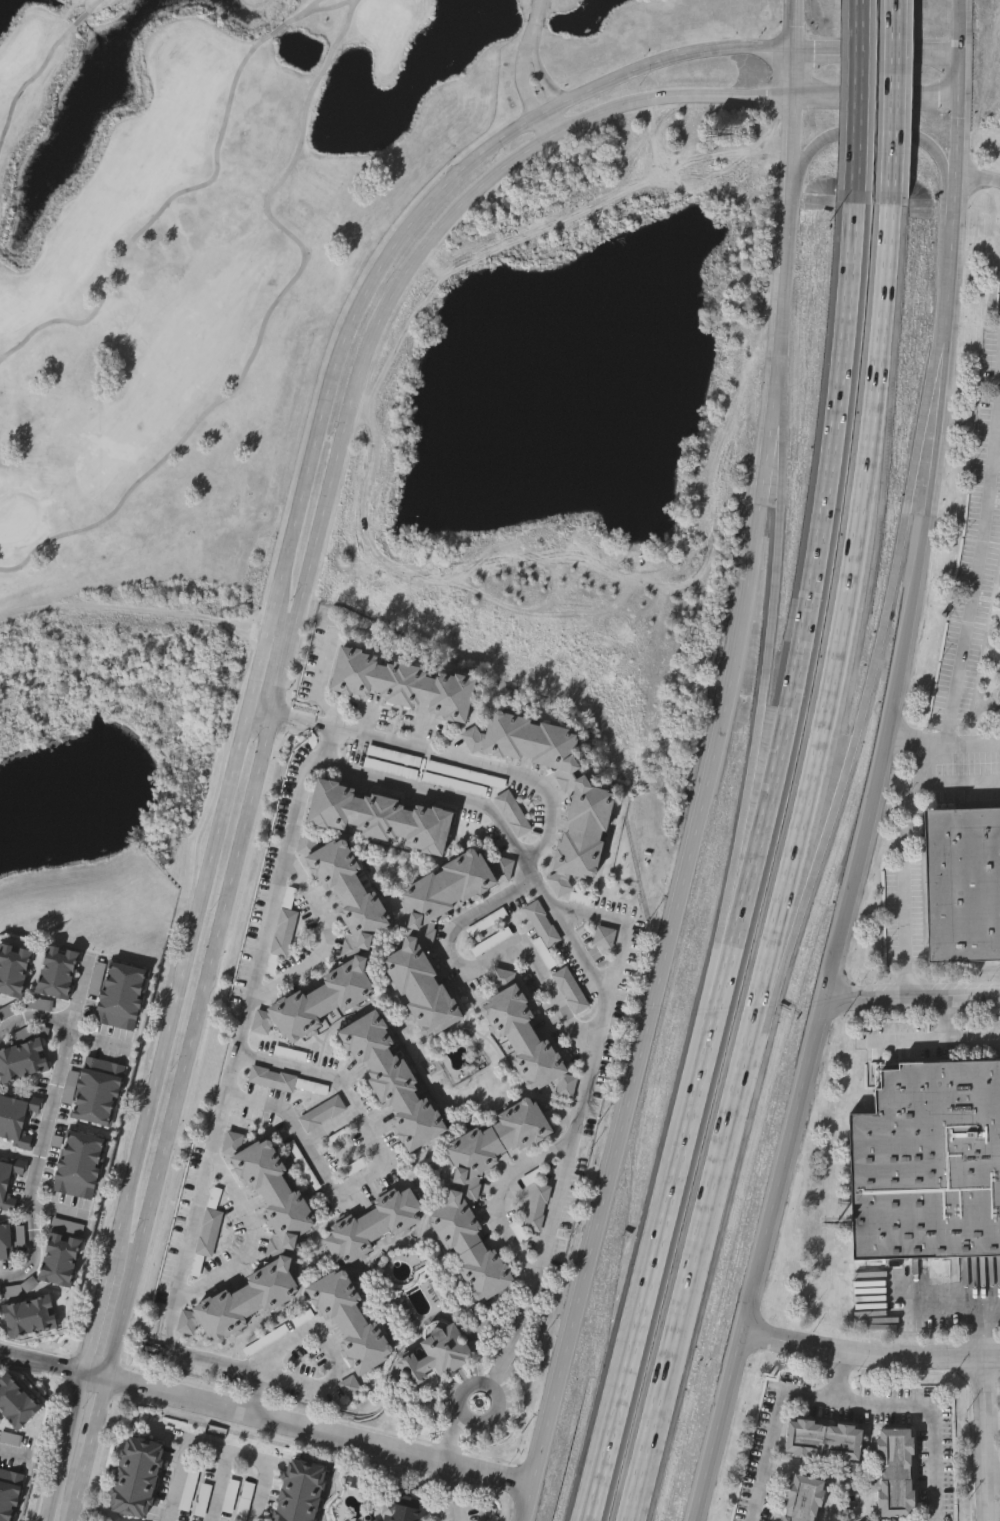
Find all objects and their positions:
road: (96, 6)
road: (312, 7)
road: (330, 9)
road: (82, 21)
road: (796, 23)
road: (959, 25)
road: (877, 48)
road: (530, 58)
road: (795, 72)
road: (29, 84)
road: (857, 95)
road: (894, 96)
road: (876, 98)
road: (554, 124)
road: (867, 139)
road: (978, 181)
road: (954, 197)
road: (169, 202)
road: (279, 225)
road: (410, 225)
park: (224, 243)
road: (931, 388)
building: (988, 430)
road: (776, 465)
road: (765, 467)
road: (976, 562)
road: (915, 580)
road: (811, 586)
road: (297, 602)
road: (845, 607)
road: (132, 609)
road: (254, 671)
building: (401, 684)
road: (872, 685)
road: (318, 687)
road: (762, 695)
road: (257, 712)
road: (289, 718)
road: (322, 725)
road: (942, 739)
building: (530, 742)
road: (959, 783)
road: (437, 792)
building: (513, 814)
building: (378, 817)
building: (585, 832)
road: (903, 866)
building: (450, 886)
building: (348, 892)
building: (962, 893)
building: (285, 926)
road: (623, 927)
road: (728, 929)
building: (543, 933)
building: (605, 939)
road: (326, 944)
road: (488, 957)
building: (13, 969)
building: (271, 970)
building: (56, 971)
road: (774, 972)
road: (593, 973)
building: (422, 990)
road: (176, 991)
building: (572, 992)
building: (116, 993)
building: (322, 999)
road: (912, 999)
road: (34, 1017)
road: (955, 1034)
building: (522, 1037)
road: (99, 1043)
building: (21, 1060)
road: (229, 1075)
building: (392, 1082)
building: (285, 1083)
building: (96, 1090)
building: (322, 1115)
building: (16, 1120)
road: (49, 1124)
building: (337, 1140)
building: (497, 1140)
building: (78, 1164)
road: (382, 1165)
building: (303, 1168)
road: (781, 1168)
building: (354, 1169)
building: (926, 1170)
road: (609, 1175)
building: (9, 1181)
building: (275, 1190)
road: (498, 1193)
building: (538, 1209)
building: (375, 1221)
building: (207, 1240)
road: (254, 1241)
building: (5, 1242)
road: (657, 1248)
building: (470, 1249)
building: (58, 1258)
road: (690, 1267)
building: (245, 1301)
building: (28, 1316)
building: (303, 1320)
building: (350, 1321)
road: (976, 1321)
road: (95, 1322)
road: (298, 1336)
road: (869, 1352)
building: (436, 1356)
road: (41, 1363)
road: (94, 1374)
road: (843, 1376)
road: (259, 1379)
road: (305, 1381)
building: (351, 1389)
road: (253, 1400)
building: (15, 1403)
road: (495, 1403)
road: (850, 1404)
road: (96, 1419)
road: (320, 1430)
road: (449, 1435)
road: (989, 1439)
building: (823, 1441)
road: (65, 1446)
road: (18, 1449)
road: (218, 1452)
building: (896, 1474)
building: (135, 1479)
road: (218, 1487)
road: (78, 1490)
building: (298, 1492)
road: (451, 1492)
building: (8, 1494)
building: (803, 1500)
building: (403, 1510)

